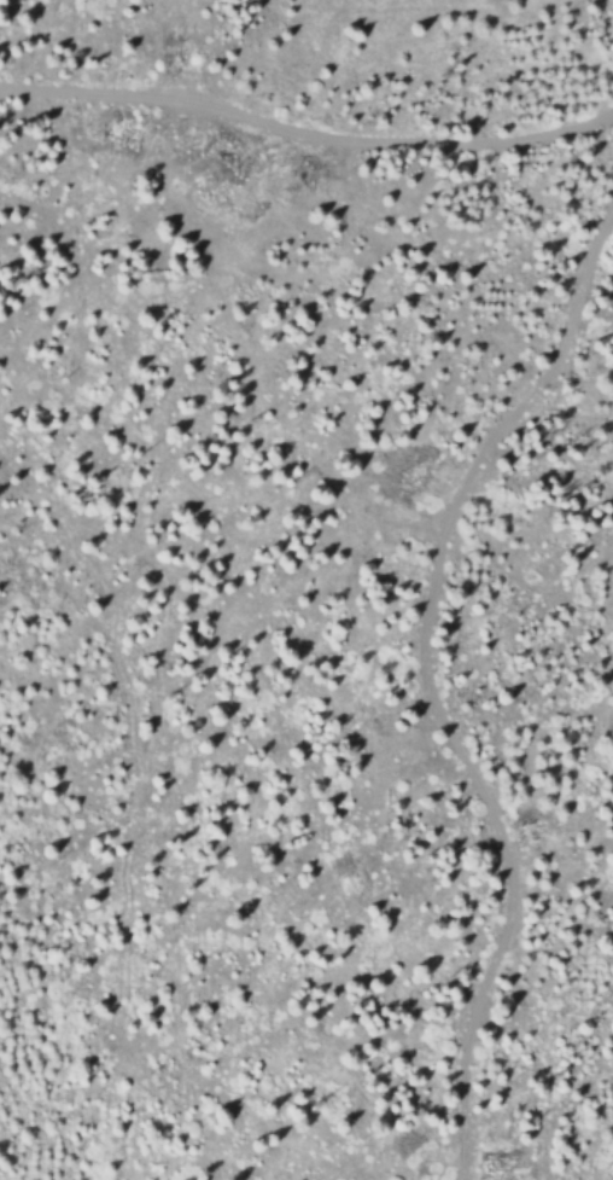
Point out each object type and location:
road: (305, 132)
road: (427, 679)

